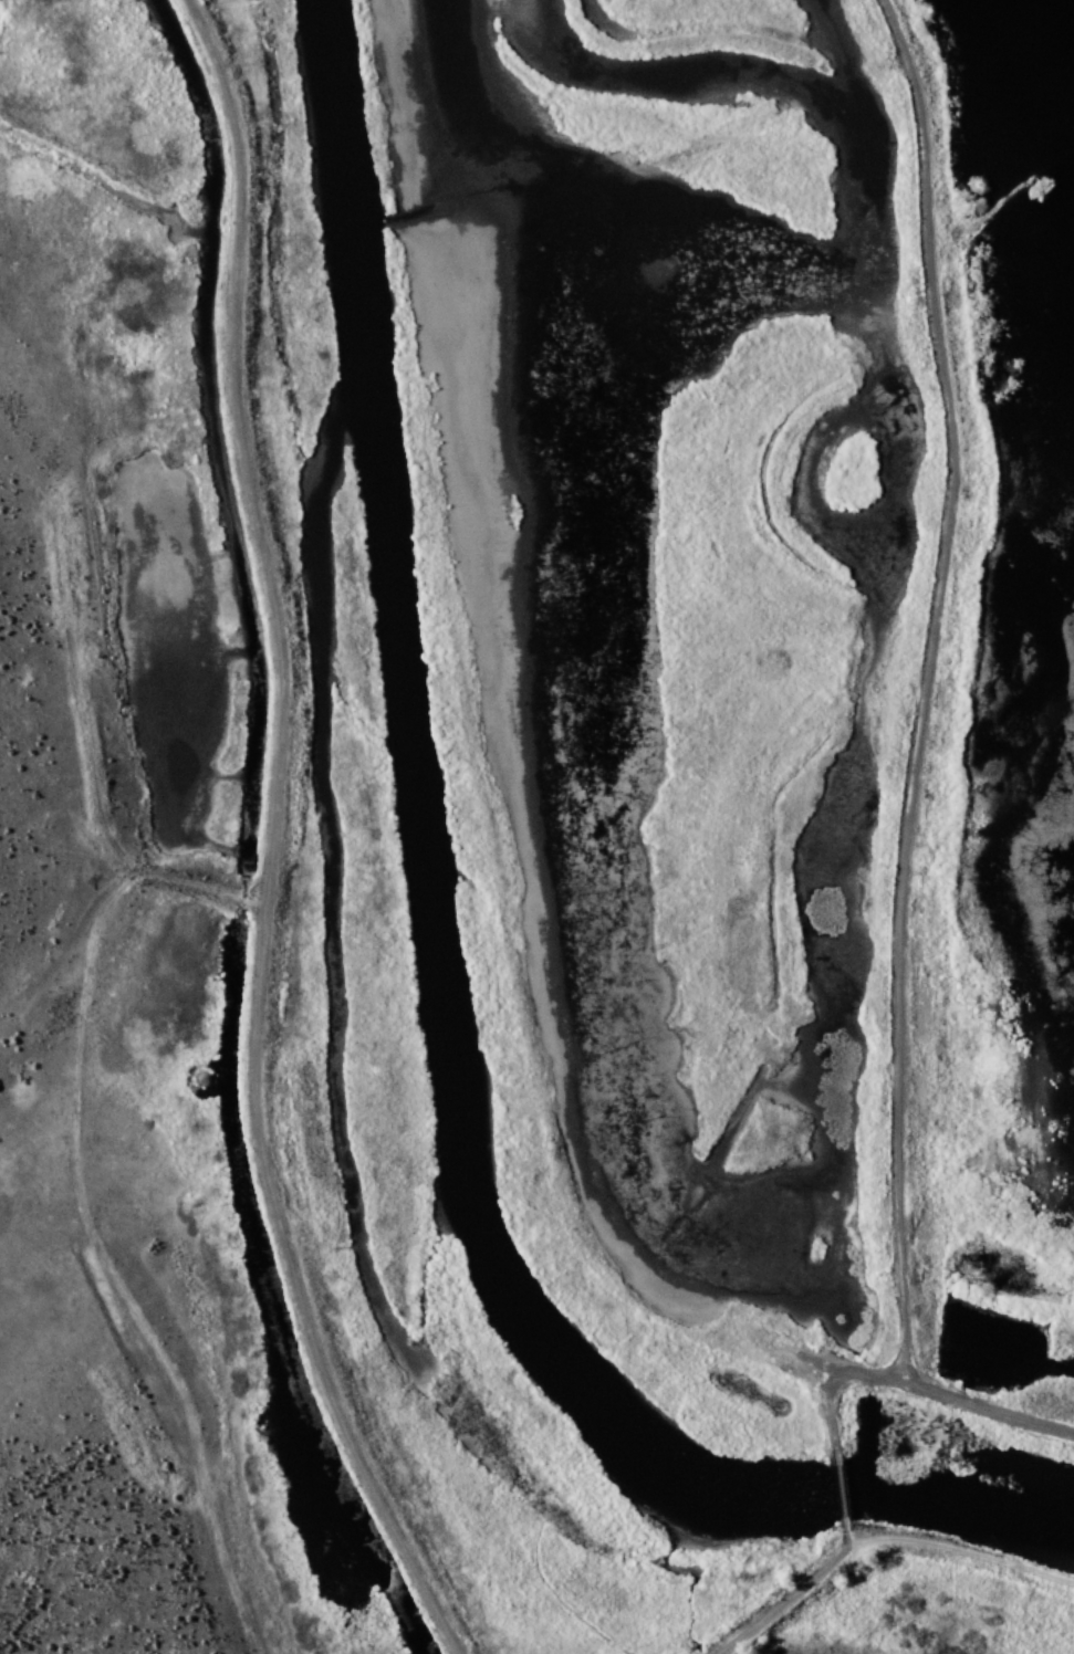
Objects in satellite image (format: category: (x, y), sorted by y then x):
river: (434, 857)
river: (987, 1489)

